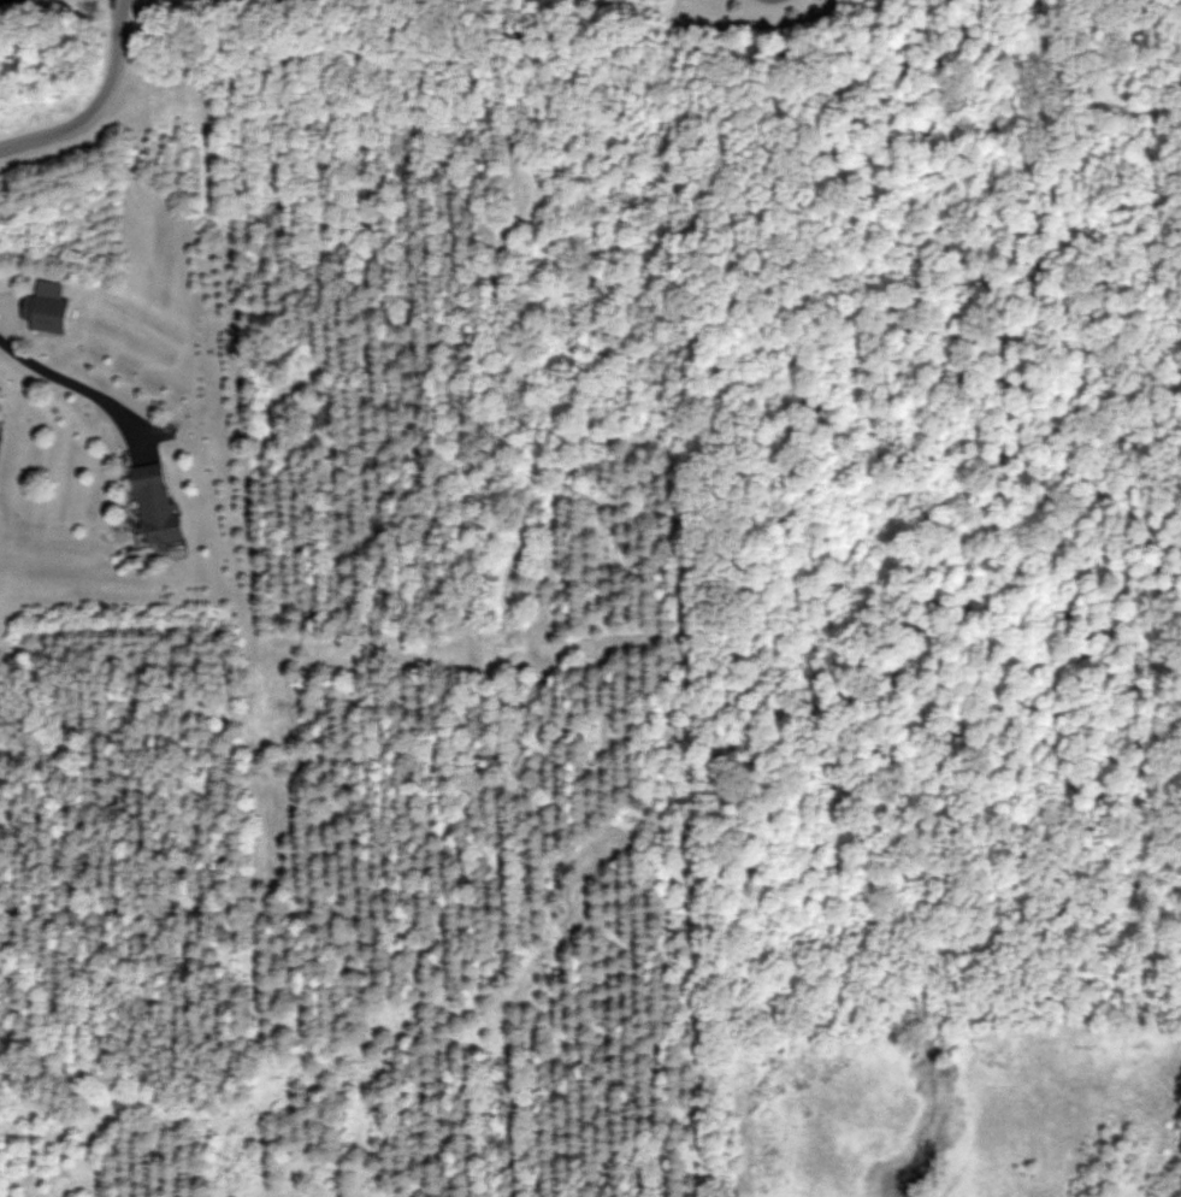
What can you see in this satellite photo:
road: (95, 100)
building: (47, 307)
road: (85, 384)
building: (155, 505)

